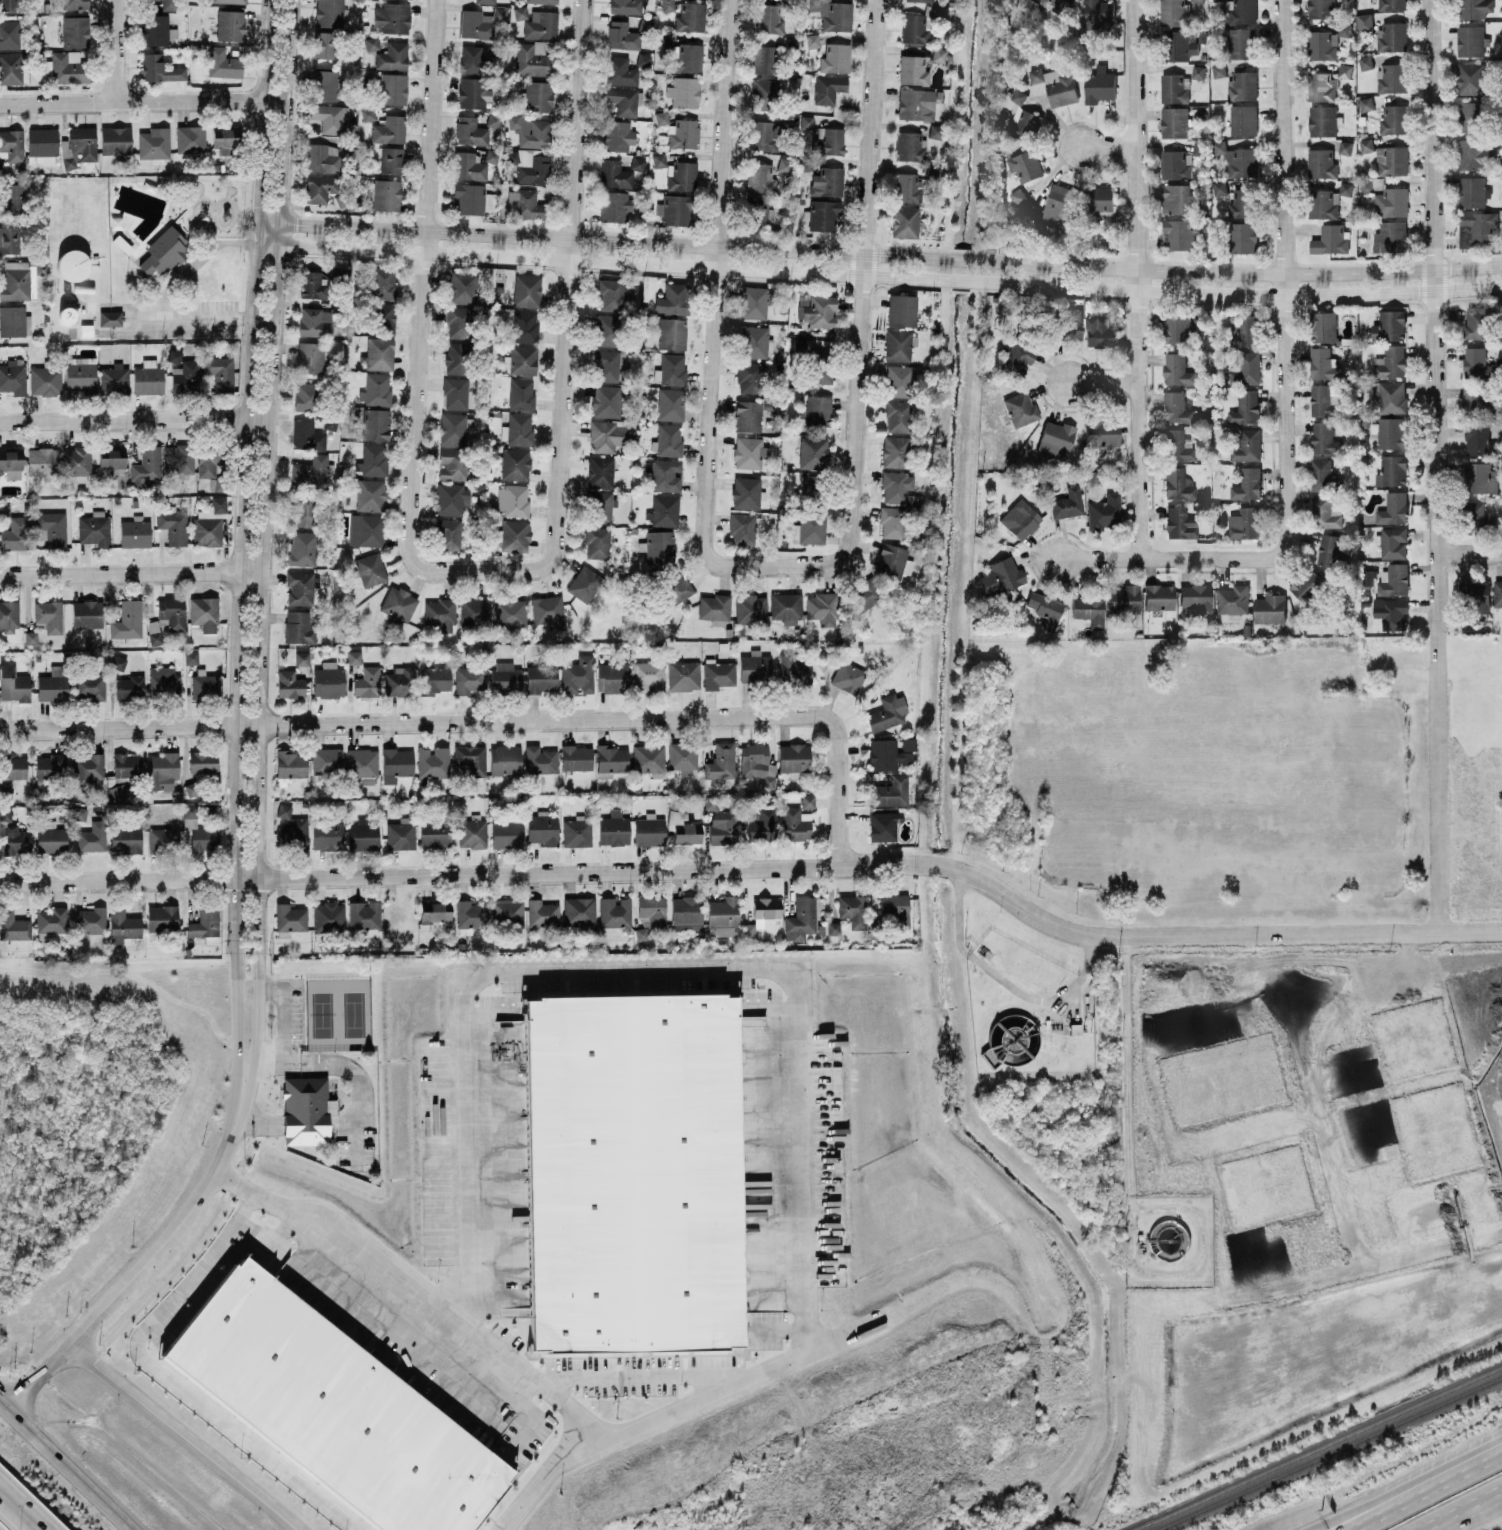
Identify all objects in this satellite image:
building: (920, 0)
building: (230, 1)
building: (485, 1)
building: (542, 1)
building: (73, 4)
building: (1391, 4)
building: (10, 5)
building: (170, 5)
building: (667, 5)
building: (1058, 5)
building: (626, 6)
building: (1321, 8)
building: (1473, 8)
building: (1240, 11)
building: (329, 12)
building: (1099, 12)
building: (1173, 12)
building: (499, 14)
building: (833, 14)
building: (690, 16)
building: (392, 17)
building: (769, 18)
building: (1363, 21)
building: (475, 24)
building: (541, 24)
building: (229, 25)
building: (914, 28)
building: (155, 29)
building: (75, 31)
building: (12, 34)
building: (1392, 35)
building: (622, 36)
building: (1469, 40)
building: (812, 41)
building: (1325, 41)
building: (371, 42)
building: (1240, 42)
building: (323, 44)
building: (1180, 44)
road: (117, 49)
building: (938, 54)
building: (393, 56)
building: (686, 57)
building: (835, 57)
building: (535, 58)
building: (472, 59)
building: (765, 60)
building: (1365, 61)
building: (223, 63)
building: (68, 67)
building: (12, 68)
building: (159, 68)
building: (1344, 69)
building: (913, 70)
building: (1198, 70)
building: (620, 71)
building: (1392, 77)
building: (1471, 77)
building: (1099, 84)
building: (1243, 84)
building: (324, 85)
building: (1056, 85)
building: (1321, 86)
building: (1173, 87)
building: (393, 88)
building: (828, 88)
building: (684, 91)
building: (473, 92)
building: (764, 93)
building: (1019, 95)
building: (537, 96)
road: (142, 99)
building: (623, 100)
building: (1365, 102)
building: (915, 104)
building: (367, 114)
road: (430, 115)
building: (1471, 115)
building: (330, 117)
road: (576, 118)
building: (661, 118)
building: (1243, 118)
building: (1393, 118)
building: (806, 121)
building: (1174, 121)
road: (722, 122)
building: (1025, 123)
road: (871, 126)
building: (389, 130)
building: (470, 131)
building: (531, 131)
building: (934, 131)
road: (1137, 133)
building: (683, 134)
road: (1431, 134)
building: (617, 135)
building: (762, 135)
road: (1283, 135)
building: (190, 138)
building: (225, 139)
building: (116, 140)
building: (828, 141)
building: (43, 143)
building: (12, 144)
building: (154, 144)
building: (1366, 144)
road: (1110, 145)
building: (80, 146)
building: (909, 146)
building: (1345, 146)
building: (1473, 153)
building: (491, 155)
building: (322, 157)
building: (511, 157)
building: (1238, 159)
building: (1392, 159)
building: (391, 160)
building: (659, 160)
building: (1321, 162)
building: (1025, 164)
building: (1175, 164)
building: (468, 166)
building: (534, 170)
building: (615, 174)
building: (681, 175)
building: (758, 177)
building: (828, 182)
building: (1366, 184)
building: (1219, 186)
building: (906, 187)
building: (1345, 187)
building: (320, 188)
building: (1471, 190)
building: (385, 194)
building: (1018, 195)
building: (15, 197)
building: (1176, 197)
building: (469, 198)
building: (1099, 199)
building: (1391, 201)
building: (1241, 202)
building: (1323, 203)
building: (525, 204)
building: (614, 205)
building: (1053, 205)
building: (673, 209)
building: (762, 210)
building: (822, 214)
building: (904, 221)
building: (1477, 226)
building: (1180, 233)
building: (1243, 236)
building: (1390, 236)
building: (1330, 238)
building: (9, 239)
building: (164, 252)
road: (877, 253)
building: (73, 264)
road: (194, 265)
road: (877, 275)
building: (16, 281)
building: (383, 282)
building: (312, 284)
building: (462, 287)
building: (527, 290)
building: (613, 293)
building: (673, 299)
building: (754, 301)
building: (817, 310)
building: (901, 310)
building: (110, 317)
building: (384, 317)
road: (203, 318)
building: (14, 321)
building: (1476, 321)
building: (458, 322)
building: (313, 323)
building: (1070, 323)
building: (1324, 325)
building: (1389, 325)
building: (523, 326)
building: (1180, 328)
building: (607, 329)
building: (86, 330)
building: (1244, 330)
building: (1100, 331)
building: (671, 333)
building: (755, 342)
building: (897, 345)
building: (379, 353)
building: (174, 355)
building: (310, 357)
building: (456, 357)
building: (523, 359)
building: (1017, 359)
building: (1390, 361)
building: (1323, 362)
building: (1477, 363)
building: (608, 364)
building: (820, 366)
building: (672, 368)
building: (1177, 368)
building: (1246, 368)
building: (219, 371)
building: (81, 375)
building: (13, 376)
building: (185, 376)
building: (148, 377)
building: (750, 377)
building: (114, 379)
building: (45, 380)
building: (898, 380)
road: (1103, 381)
building: (377, 388)
building: (455, 393)
building: (521, 393)
building: (304, 395)
building: (1390, 395)
building: (1324, 400)
building: (606, 401)
building: (1475, 401)
building: (671, 404)
building: (1245, 406)
building: (1176, 407)
building: (1020, 408)
building: (817, 410)
road: (1284, 411)
road: (1138, 413)
building: (747, 415)
building: (897, 415)
road: (133, 419)
road: (559, 422)
building: (375, 424)
building: (455, 427)
building: (517, 429)
building: (1101, 432)
building: (1388, 432)
building: (307, 435)
building: (607, 435)
road: (857, 437)
building: (1325, 438)
building: (1480, 438)
building: (1056, 439)
building: (668, 440)
road: (706, 443)
road: (415, 444)
building: (1246, 444)
building: (1176, 446)
building: (895, 451)
building: (747, 452)
building: (813, 452)
building: (112, 458)
building: (179, 458)
building: (372, 460)
building: (42, 461)
building: (76, 461)
building: (11, 462)
building: (208, 462)
building: (452, 463)
building: (515, 464)
building: (147, 466)
building: (1391, 469)
building: (311, 470)
building: (600, 471)
building: (664, 475)
building: (1323, 475)
building: (1480, 476)
building: (1178, 483)
building: (1247, 483)
building: (896, 486)
building: (811, 487)
building: (746, 492)
building: (370, 494)
building: (451, 499)
building: (513, 500)
building: (1067, 503)
building: (219, 504)
building: (600, 506)
building: (1393, 507)
building: (4, 508)
building: (304, 509)
building: (665, 510)
building: (1104, 511)
building: (1325, 511)
building: (1475, 516)
building: (1020, 519)
building: (892, 522)
building: (1244, 522)
building: (1179, 523)
building: (173, 526)
building: (51, 528)
building: (207, 528)
building: (743, 528)
building: (810, 528)
building: (95, 529)
building: (365, 530)
building: (135, 532)
building: (15, 533)
building: (448, 534)
building: (513, 535)
road: (238, 536)
road: (262, 536)
building: (1393, 541)
building: (597, 542)
building: (658, 546)
building: (302, 548)
building: (1329, 549)
road: (1469, 552)
road: (1169, 558)
building: (892, 560)
building: (370, 569)
road: (130, 574)
building: (999, 577)
building: (1394, 578)
building: (584, 583)
building: (1307, 584)
building: (677, 585)
building: (302, 587)
building: (1497, 592)
building: (1474, 593)
building: (864, 594)
building: (1197, 597)
building: (1159, 598)
building: (1233, 598)
road: (1437, 598)
building: (1124, 599)
building: (399, 603)
building: (714, 606)
building: (786, 607)
building: (1270, 607)
building: (822, 608)
building: (751, 609)
building: (1045, 609)
building: (475, 611)
building: (548, 611)
building: (1089, 611)
building: (172, 612)
building: (510, 612)
building: (87, 613)
building: (204, 613)
building: (440, 613)
building: (1394, 613)
building: (49, 615)
building: (8, 616)
building: (127, 620)
building: (298, 626)
building: (30, 637)
building: (154, 638)
building: (191, 657)
building: (354, 657)
building: (302, 658)
building: (118, 662)
building: (754, 666)
building: (794, 669)
building: (718, 674)
building: (683, 675)
building: (577, 676)
building: (612, 676)
building: (648, 676)
building: (847, 676)
building: (505, 677)
building: (541, 678)
building: (435, 679)
building: (470, 679)
building: (329, 680)
building: (164, 681)
building: (400, 681)
building: (367, 682)
building: (13, 684)
building: (290, 684)
building: (53, 685)
building: (89, 686)
building: (205, 686)
building: (130, 687)
building: (886, 713)
road: (518, 720)
road: (128, 726)
building: (908, 743)
building: (886, 754)
building: (683, 756)
building: (576, 757)
building: (793, 757)
building: (471, 758)
building: (612, 758)
building: (648, 758)
building: (505, 759)
building: (327, 760)
building: (540, 760)
building: (203, 761)
building: (433, 761)
building: (362, 762)
building: (291, 763)
building: (721, 763)
building: (396, 764)
building: (757, 764)
road: (839, 764)
building: (127, 765)
building: (15, 766)
building: (50, 766)
building: (87, 769)
building: (162, 770)
building: (5, 790)
building: (117, 791)
building: (890, 791)
building: (807, 801)
building: (283, 810)
building: (79, 813)
building: (5, 814)
building: (720, 821)
building: (763, 824)
building: (794, 824)
building: (882, 826)
building: (543, 828)
building: (613, 828)
building: (649, 830)
building: (199, 831)
building: (577, 831)
building: (297, 832)
building: (688, 832)
building: (472, 833)
building: (506, 833)
building: (327, 835)
building: (363, 836)
building: (92, 837)
building: (163, 838)
building: (51, 839)
building: (126, 839)
building: (16, 840)
road: (889, 868)
road: (129, 880)
building: (766, 907)
building: (895, 909)
building: (652, 910)
building: (852, 910)
building: (579, 911)
building: (433, 912)
building: (507, 912)
building: (615, 912)
building: (542, 913)
building: (686, 913)
building: (328, 915)
building: (723, 915)
building: (470, 916)
building: (162, 917)
building: (364, 918)
building: (800, 918)
building: (289, 919)
building: (51, 920)
building: (89, 920)
building: (205, 921)
building: (124, 924)
building: (13, 925)
building: (832, 928)
building: (748, 929)
building: (641, 933)
road: (640, 970)
road: (1012, 984)
park: (337, 1013)
road: (1136, 1092)
building: (306, 1110)
building: (632, 1172)
road: (157, 1257)
road: (416, 1296)
road: (635, 1375)
road: (165, 1380)
road: (682, 1404)
building: (334, 1407)
road: (182, 1437)
railway: (1314, 1446)
railway: (1326, 1452)
road: (69, 1463)
road: (1452, 1475)
road: (1501, 1492)
road: (1460, 1509)
road: (18, 1512)
road: (1357, 1514)
road: (1372, 1514)

